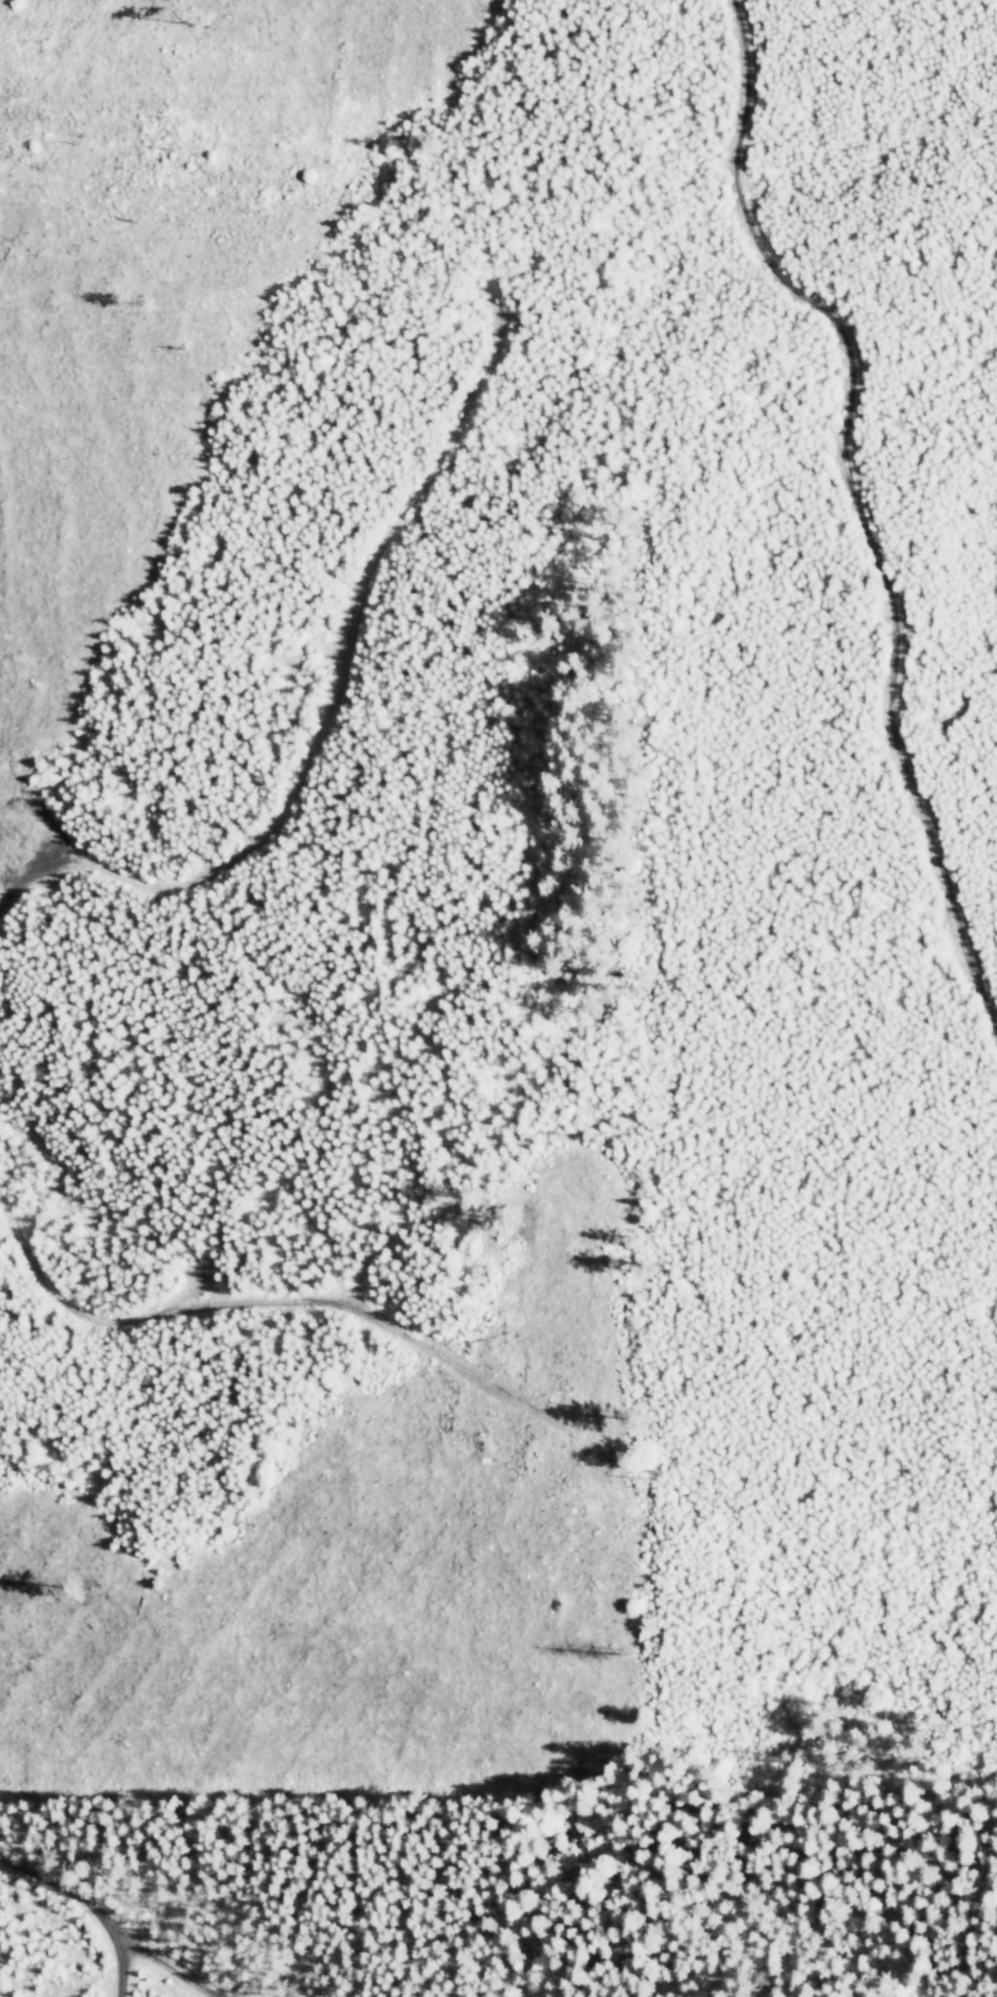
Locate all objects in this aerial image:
road: (855, 507)
road: (326, 684)
road: (84, 1313)
road: (486, 1874)
road: (74, 1888)
road: (171, 1977)
road: (131, 1979)
road: (128, 1996)

